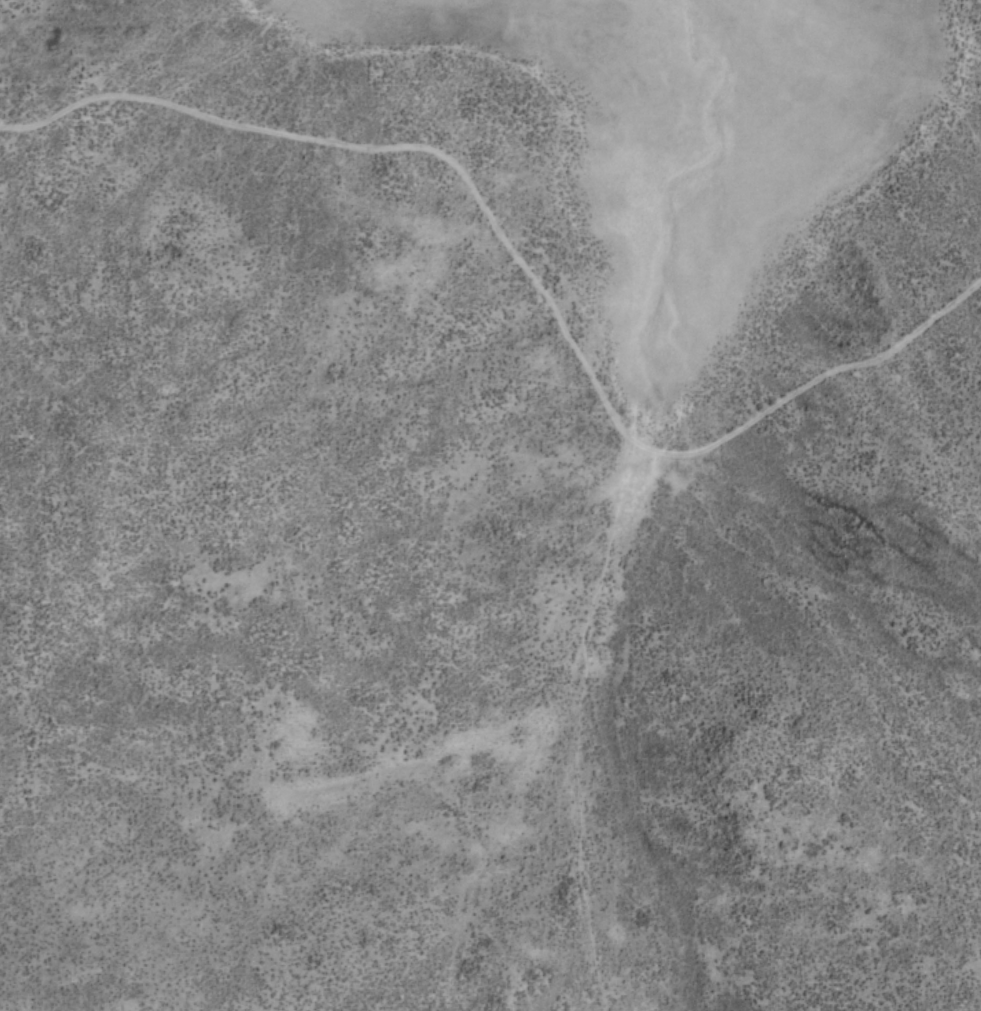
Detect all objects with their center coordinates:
road: (529, 267)

